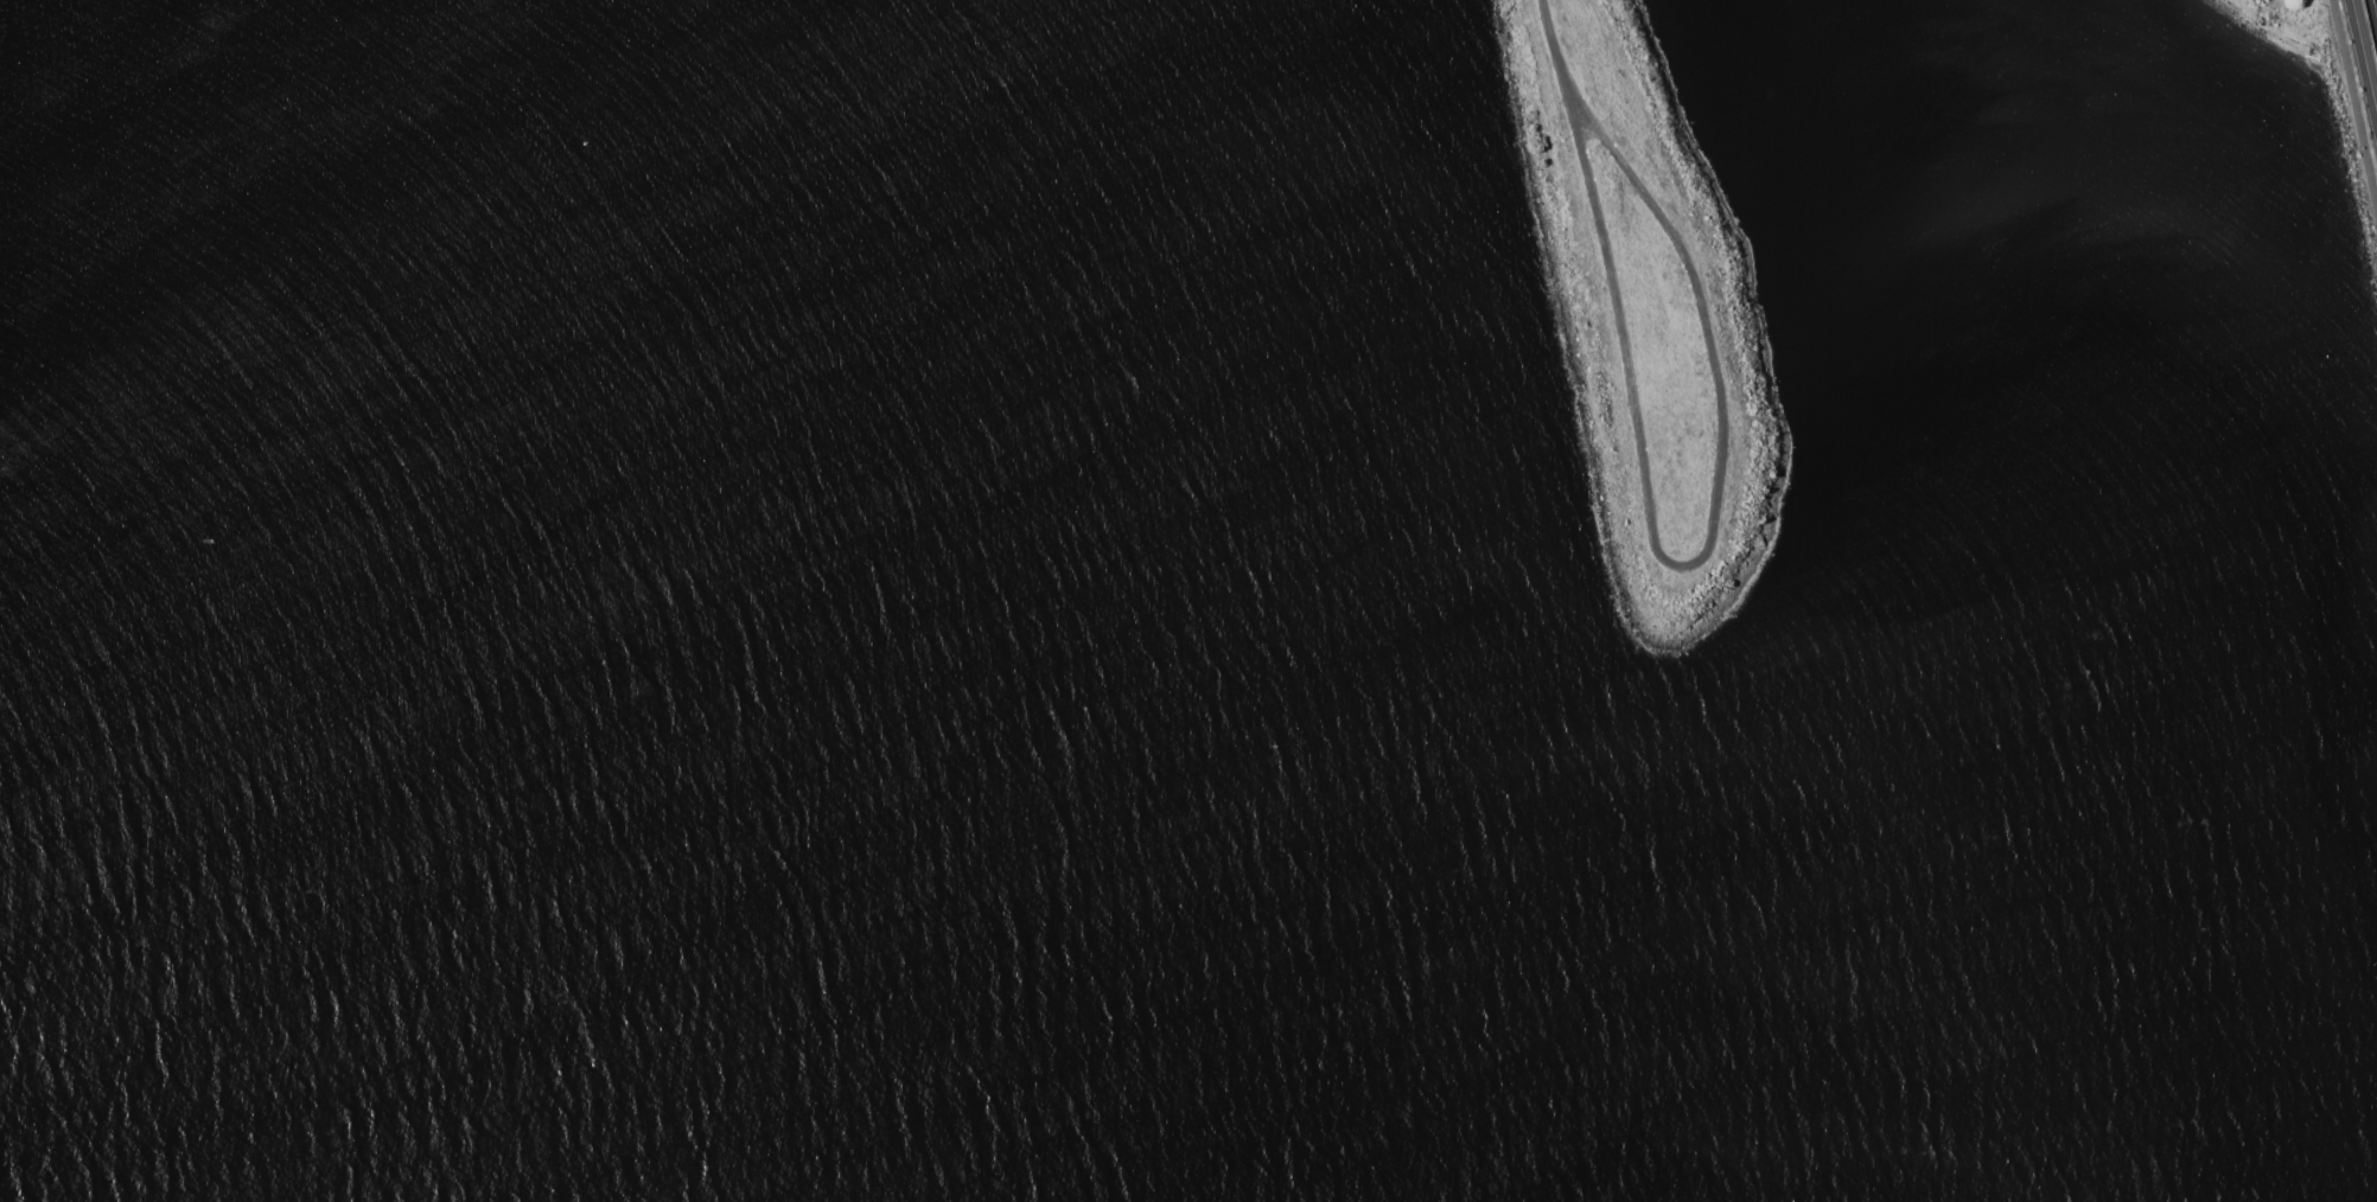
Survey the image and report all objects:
park: (2299, 27)
road: (1550, 43)
road: (2364, 58)
road: (2351, 113)
park: (2356, 159)
park: (1648, 312)
road: (1697, 558)

